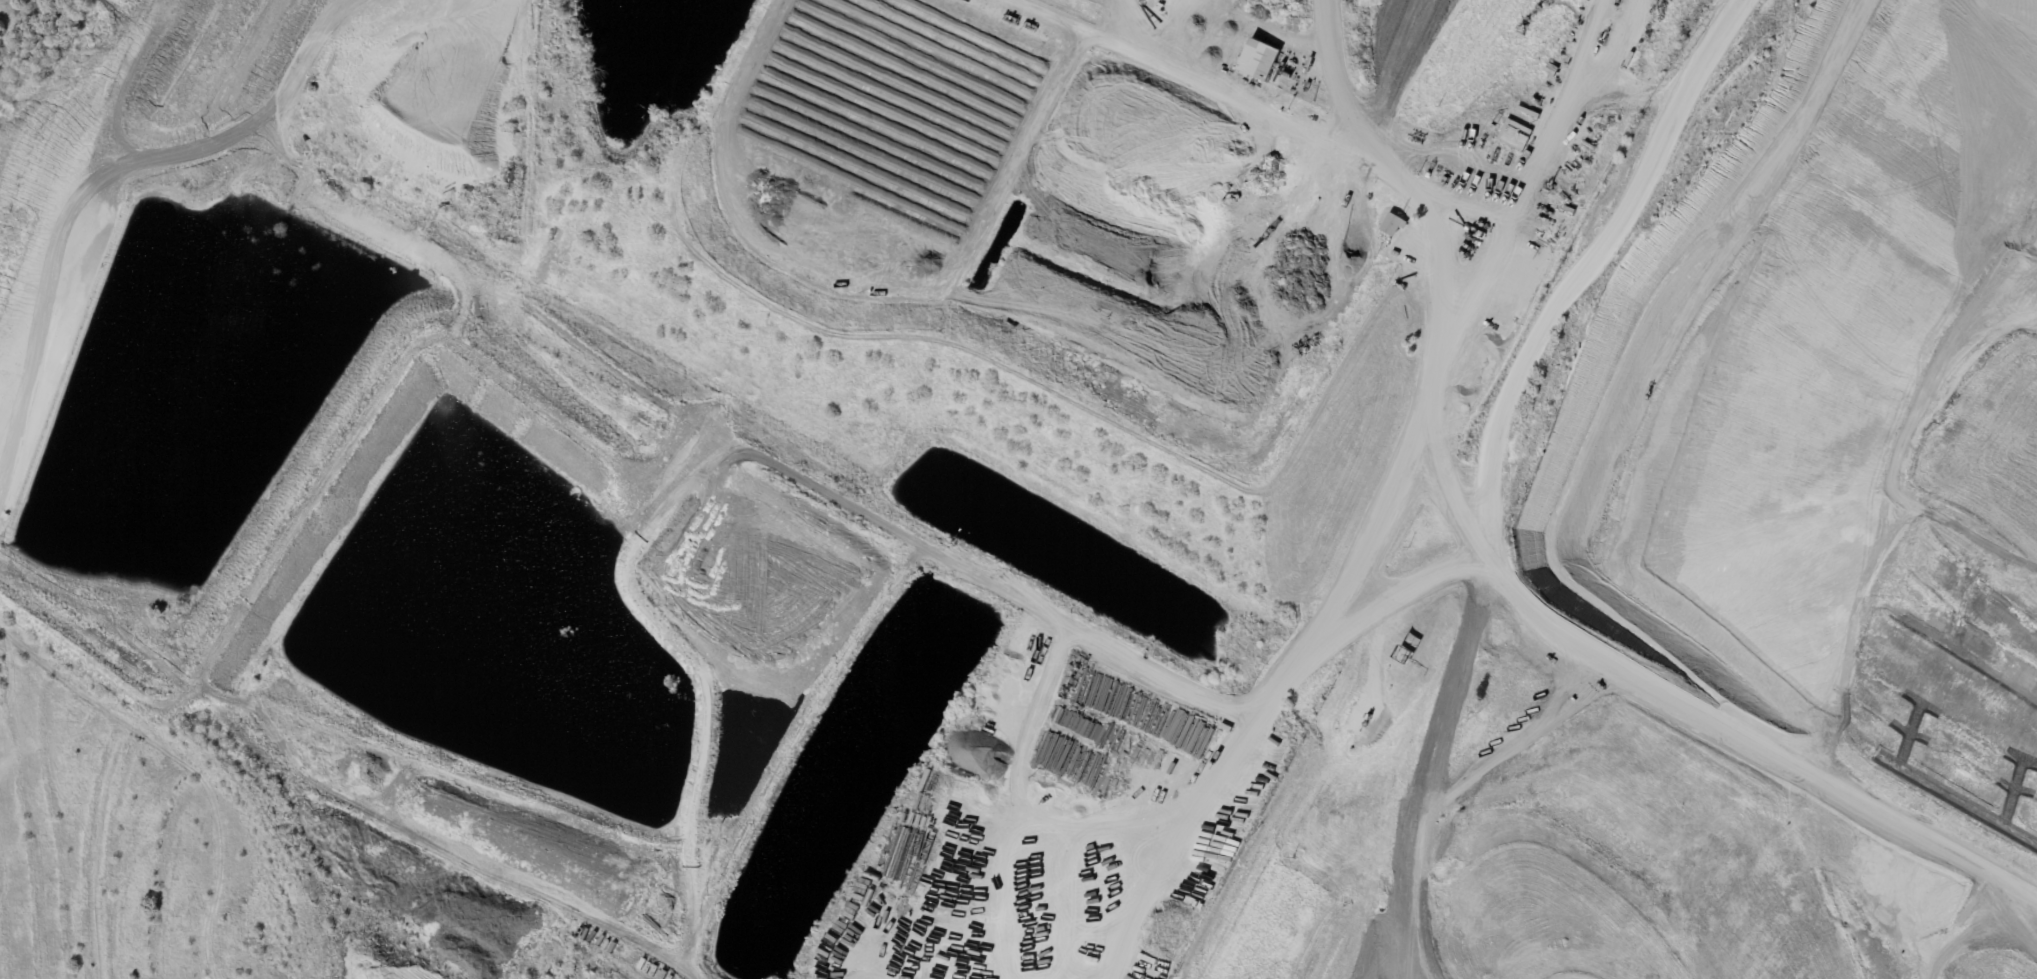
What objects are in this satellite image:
building: (1257, 59)
building: (1304, 76)
building: (1307, 86)
road: (1559, 106)
road: (1371, 150)
building: (1391, 224)
road: (1554, 300)
landfill: (1727, 573)
road: (1385, 605)
road: (1305, 646)
road: (1688, 706)

